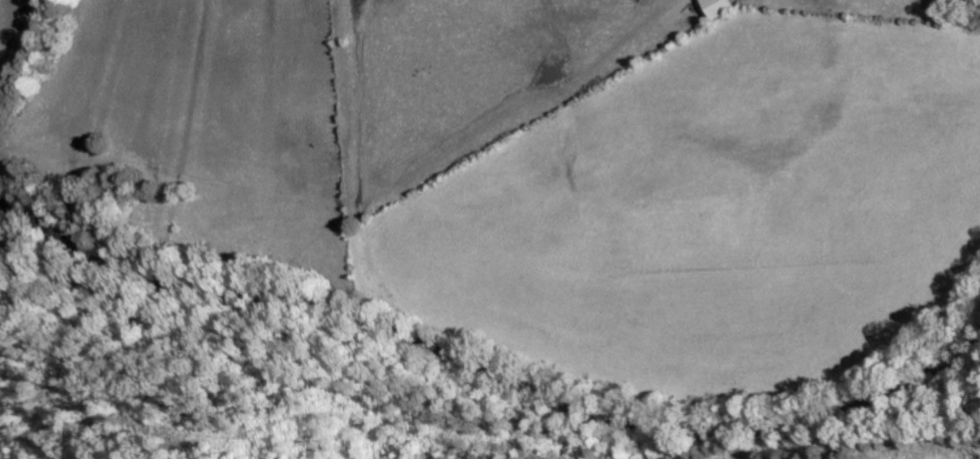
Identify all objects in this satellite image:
building: (720, 9)

